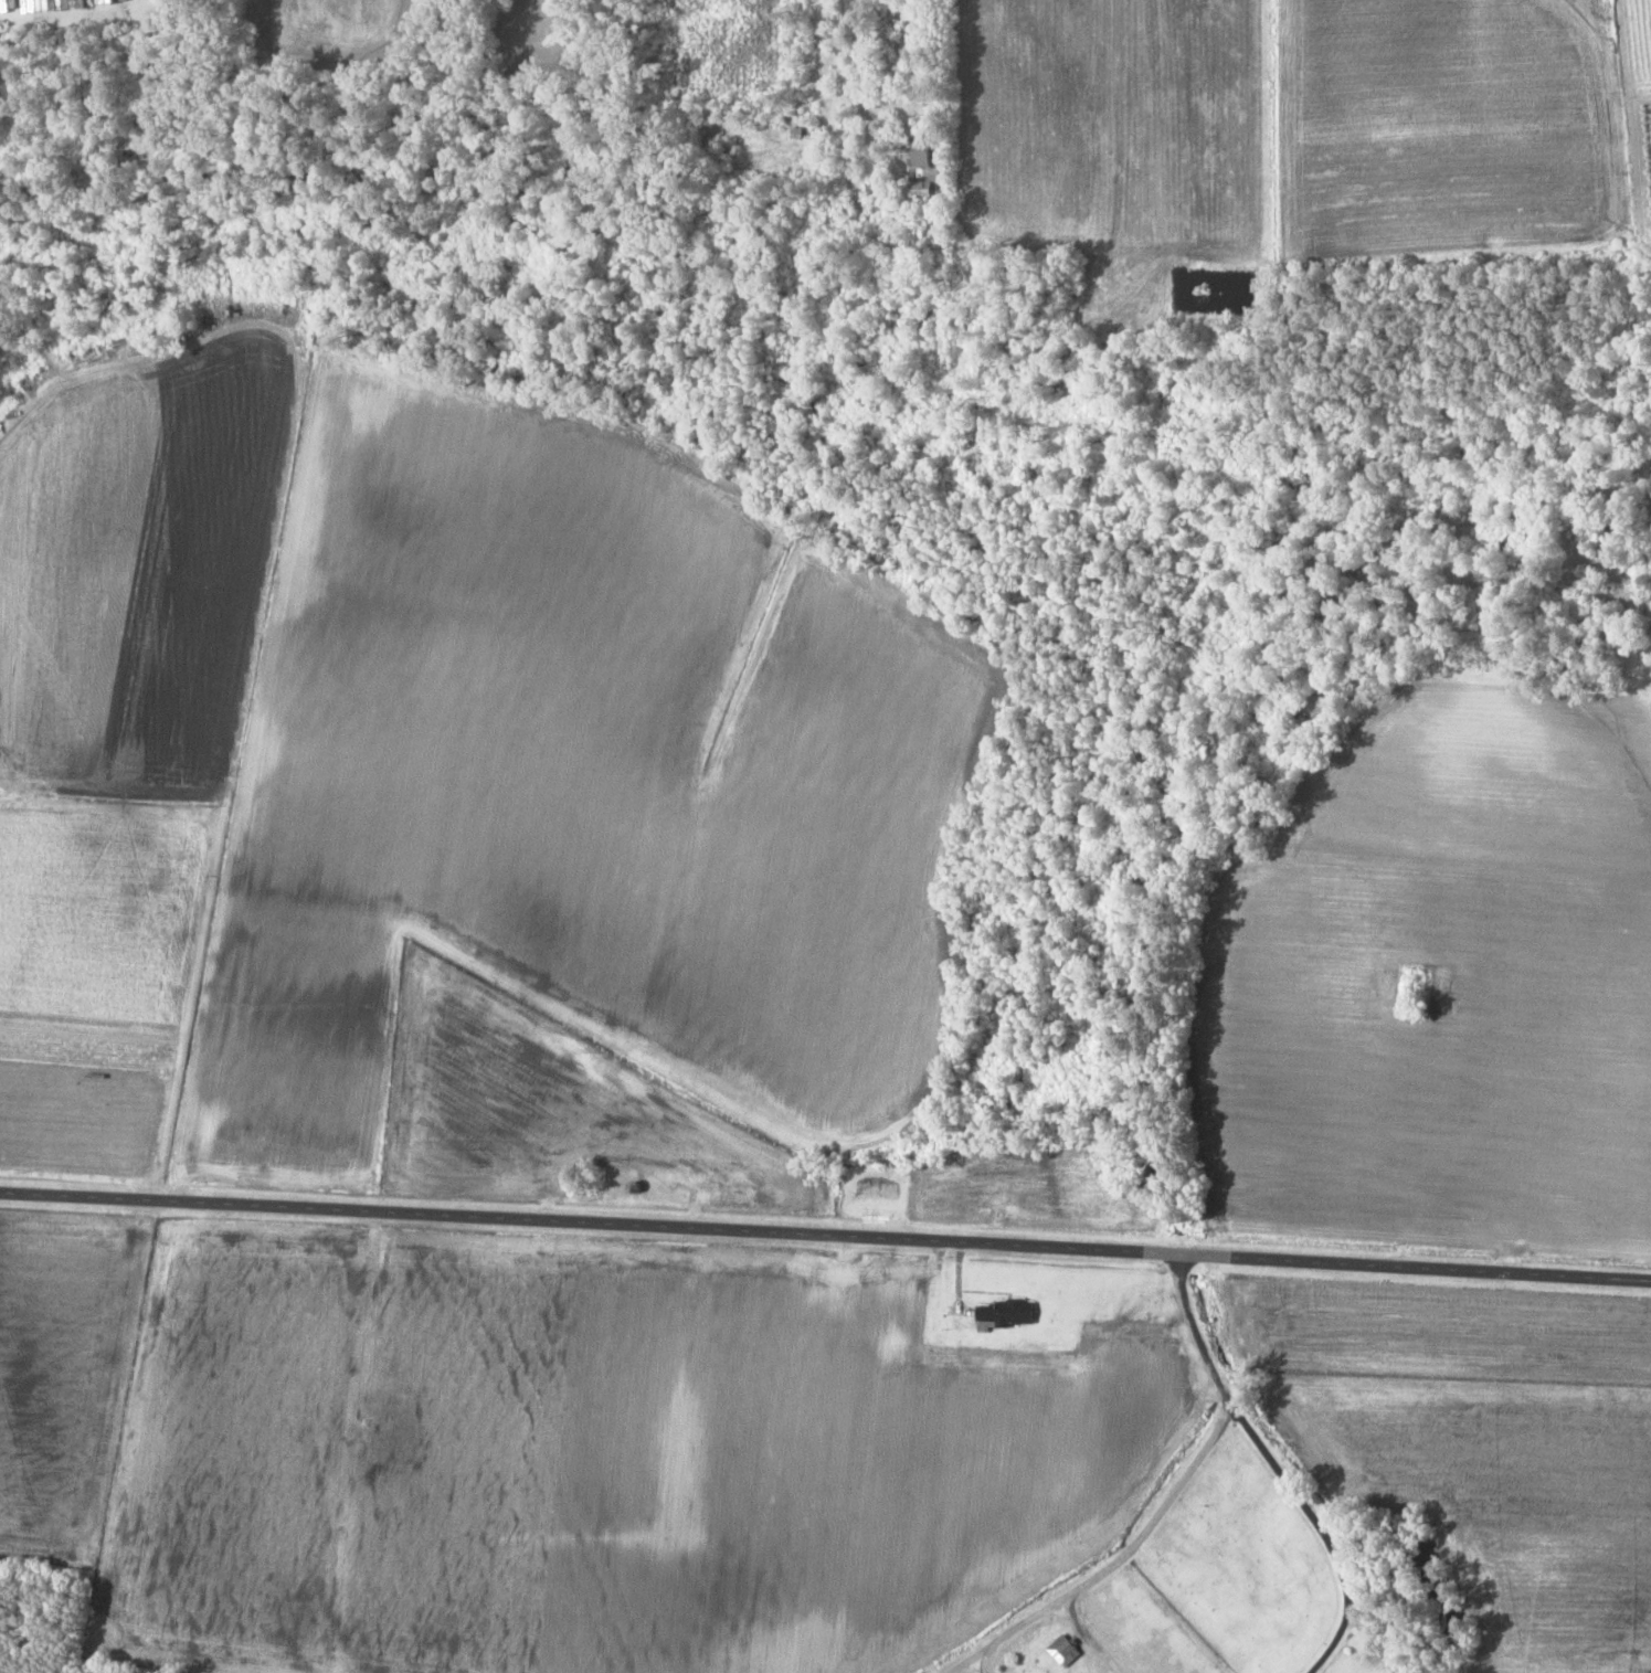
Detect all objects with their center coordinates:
building: (924, 152)
building: (877, 1190)
road: (825, 1235)
building: (1507, 1247)
building: (815, 1291)
building: (1005, 1314)
building: (1065, 1651)

